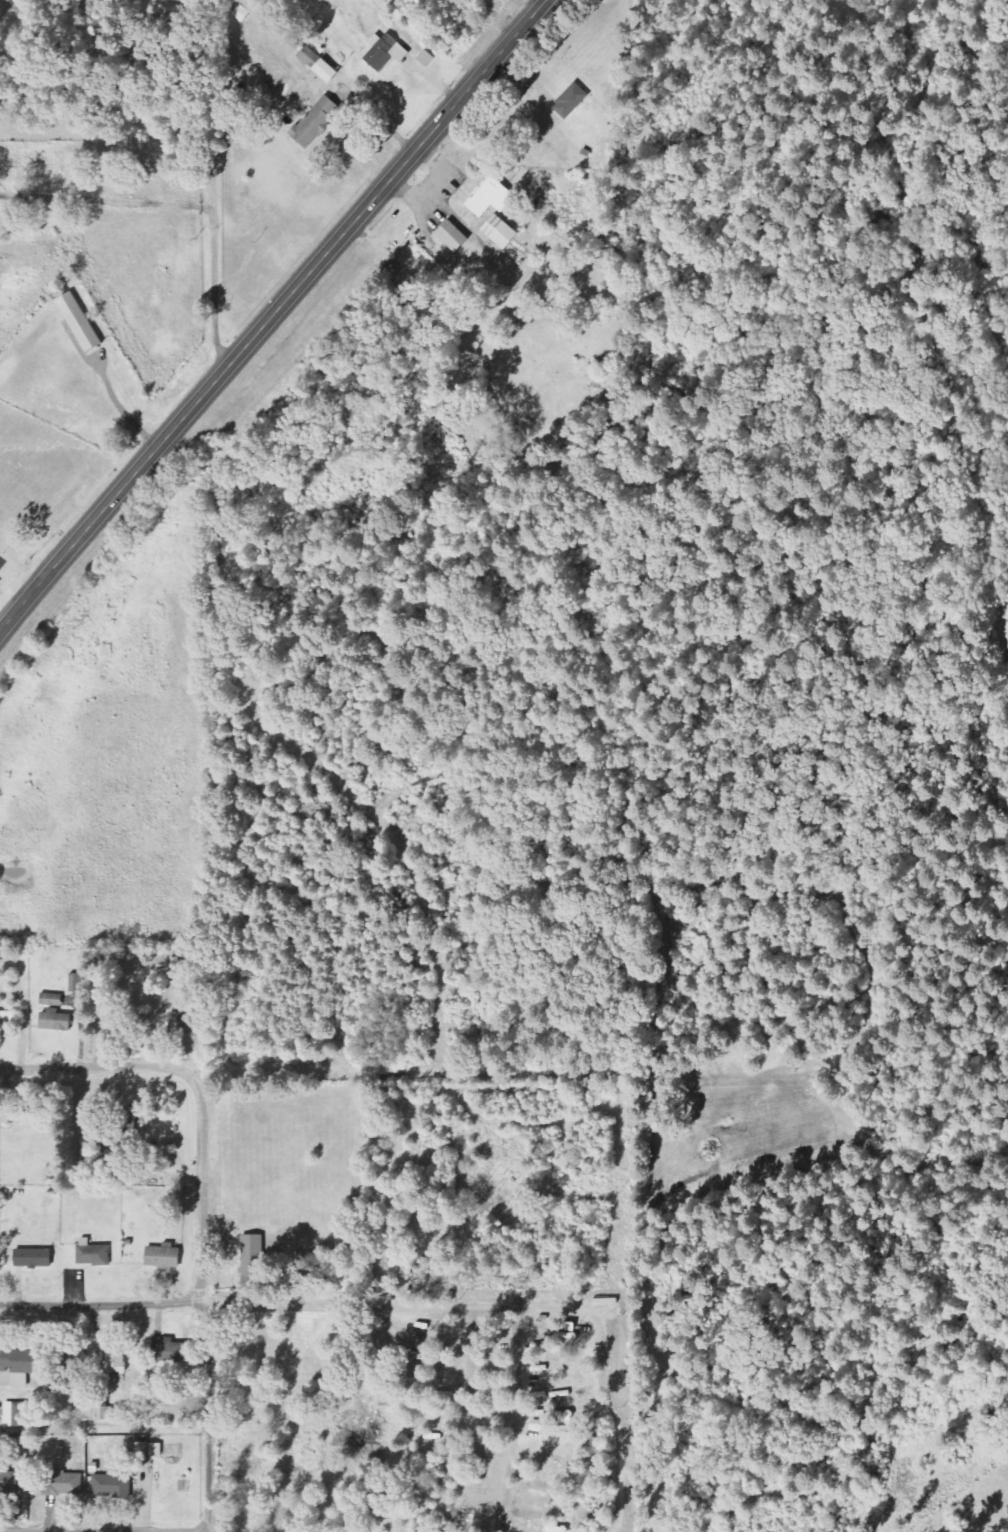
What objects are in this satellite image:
building: (389, 51)
building: (312, 56)
building: (330, 71)
building: (574, 101)
building: (318, 122)
building: (495, 198)
building: (504, 232)
building: (456, 236)
road: (272, 314)
building: (82, 322)
building: (79, 983)
building: (53, 1000)
building: (8, 1016)
building: (176, 1017)
building: (58, 1021)
road: (93, 1067)
building: (252, 1247)
building: (92, 1254)
building: (162, 1257)
building: (31, 1258)
road: (203, 1298)
road: (101, 1299)
building: (173, 1350)
building: (116, 1362)
building: (17, 1365)
building: (106, 1411)
building: (19, 1412)
building: (148, 1450)
building: (11, 1482)
building: (62, 1484)
building: (112, 1486)
road: (103, 1531)

